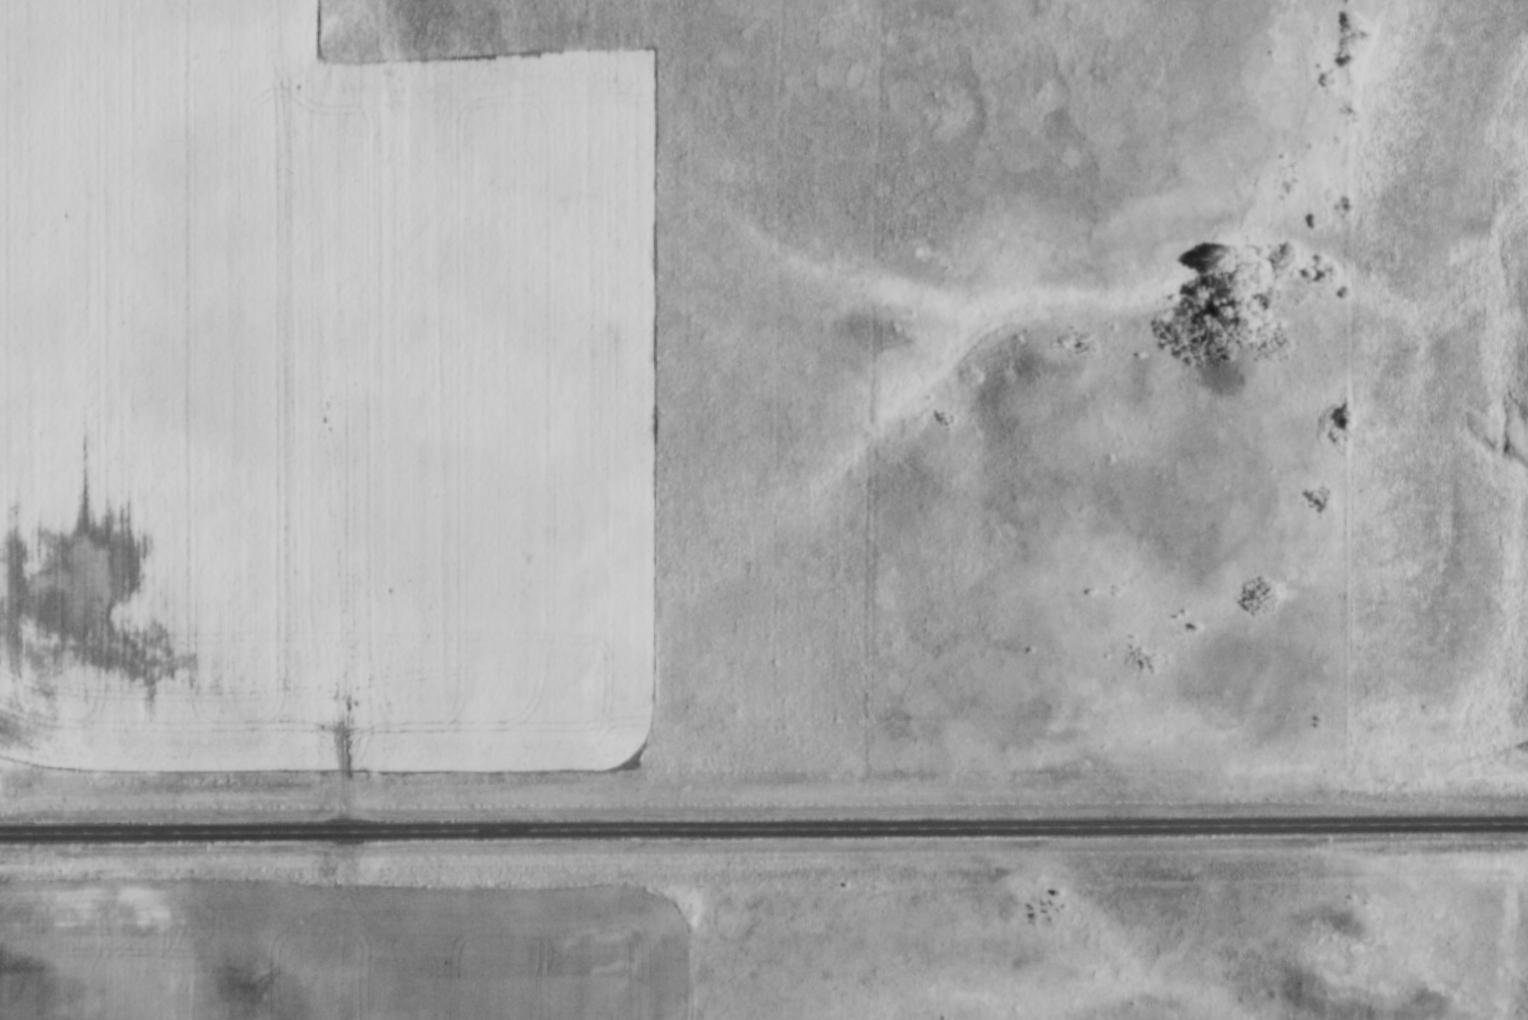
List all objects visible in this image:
road: (764, 824)

